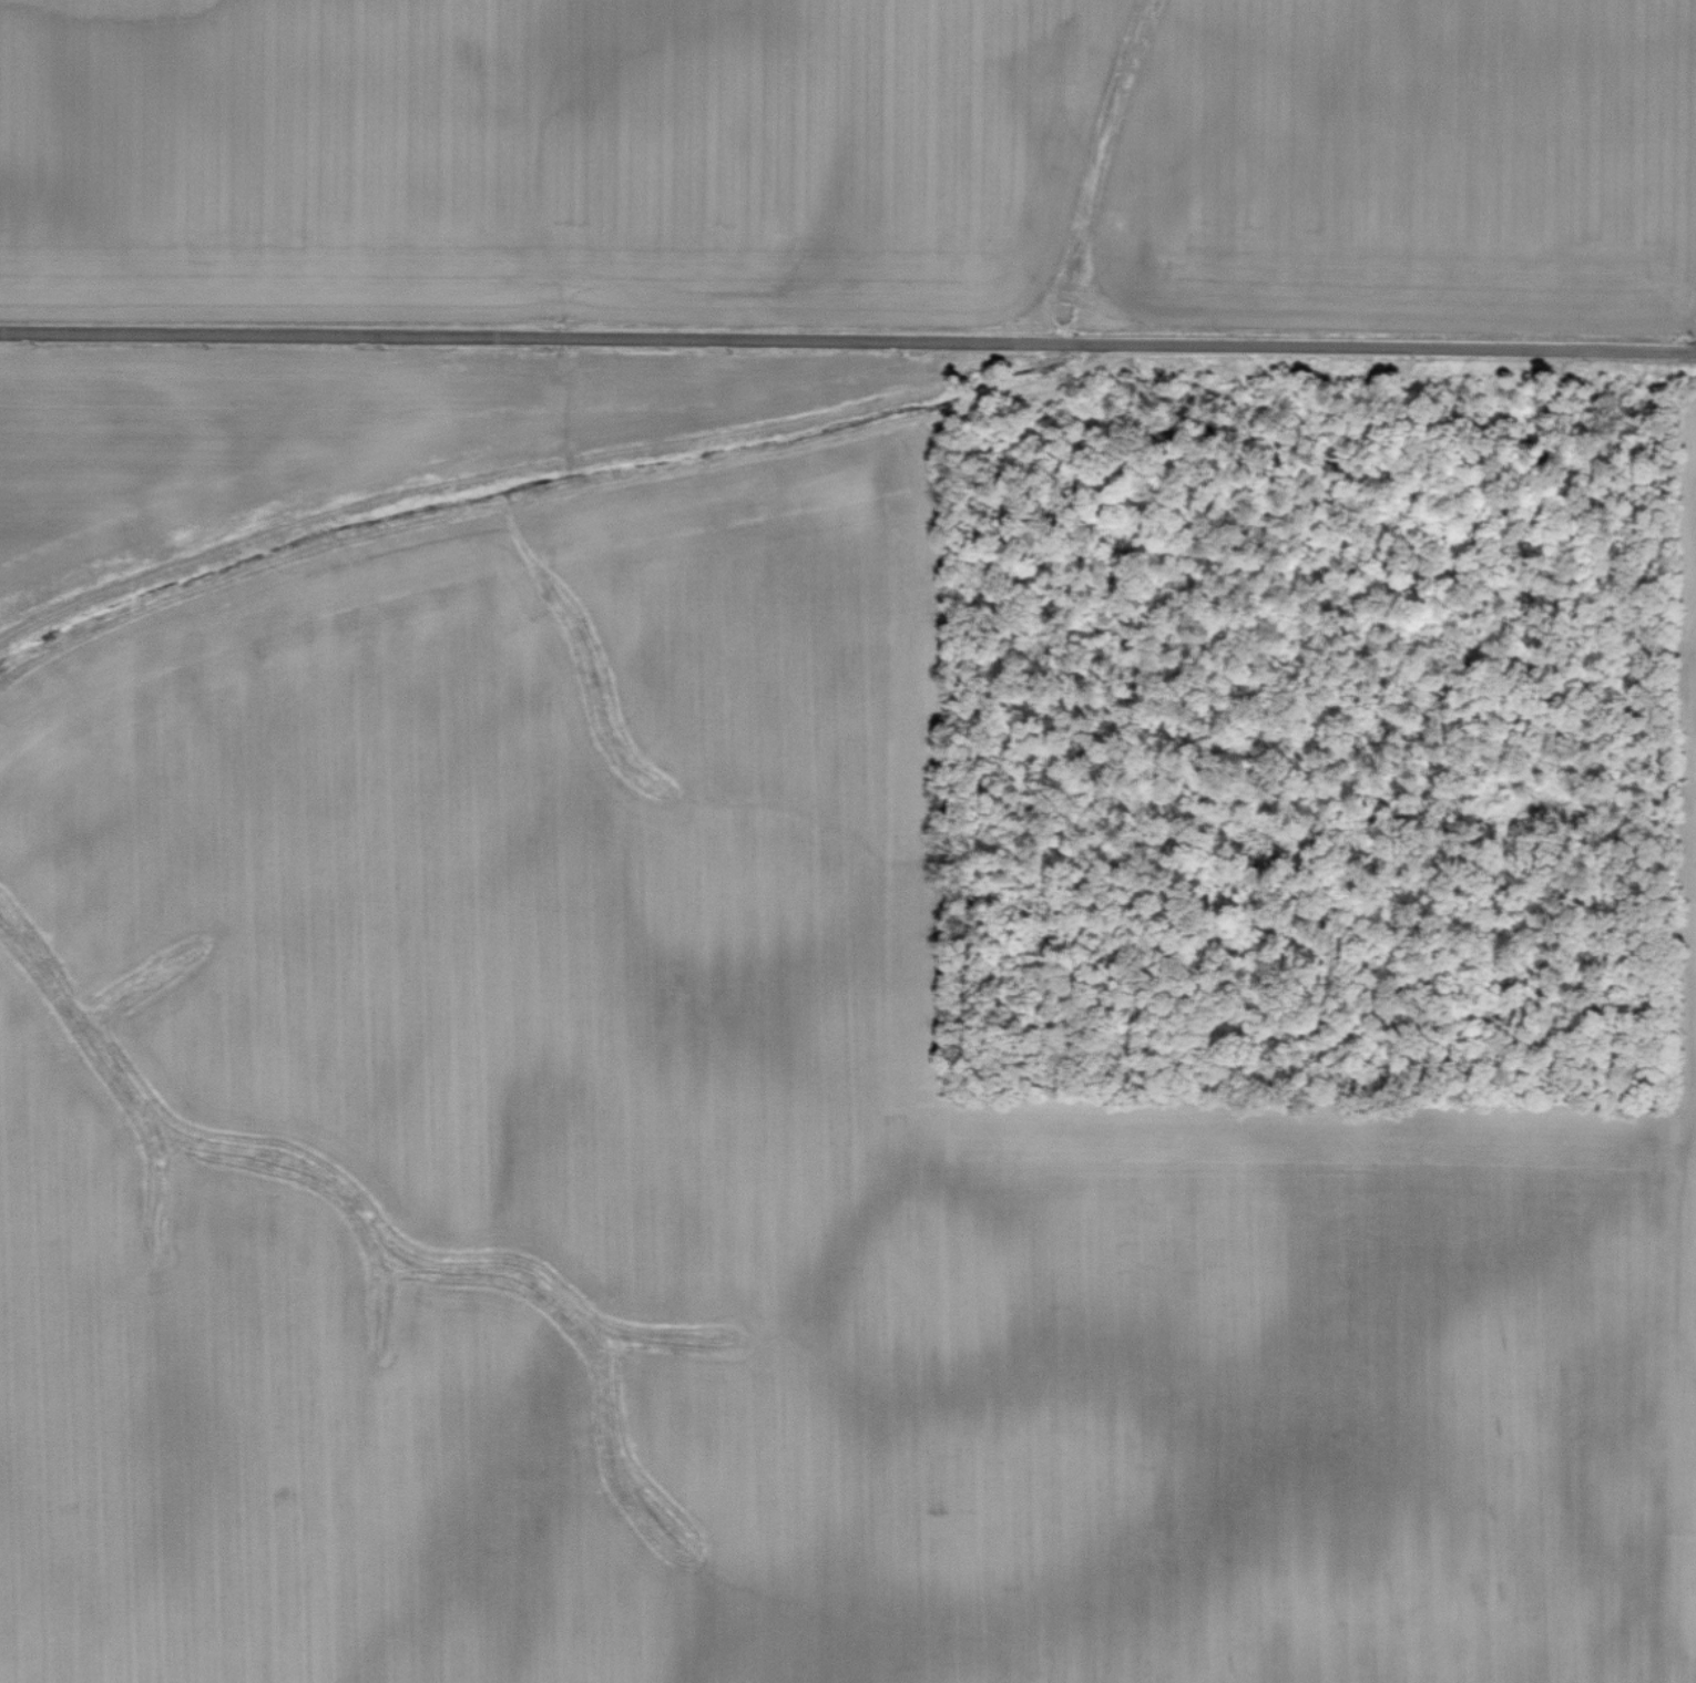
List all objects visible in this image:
road: (847, 341)

